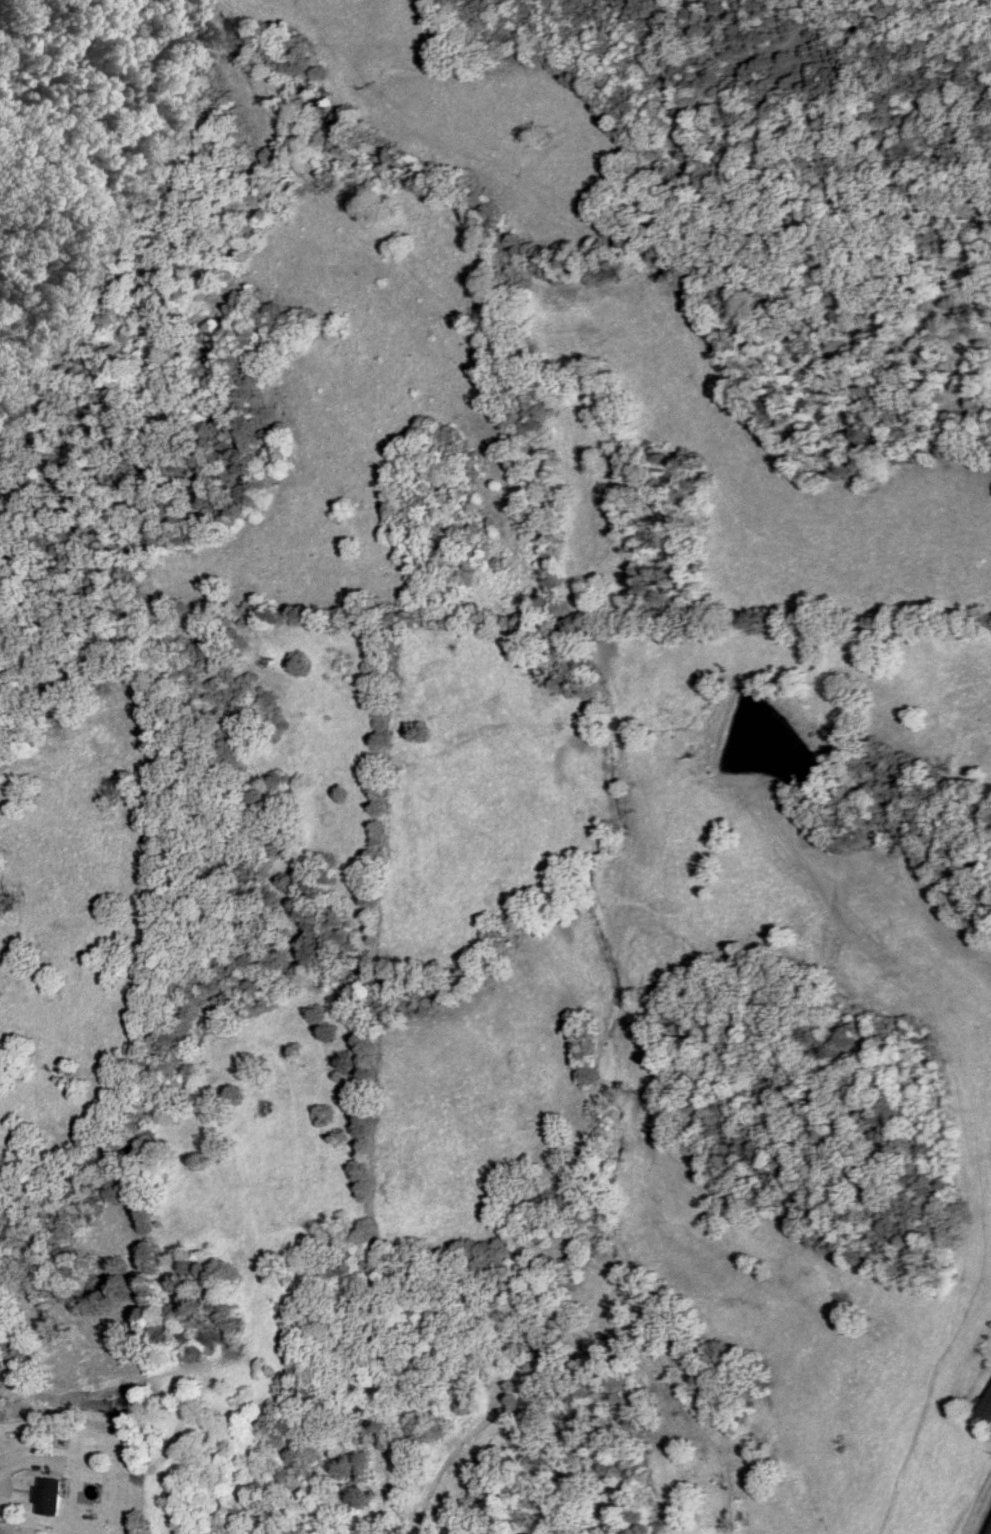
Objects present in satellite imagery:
building: (985, 1409)
building: (48, 1496)

